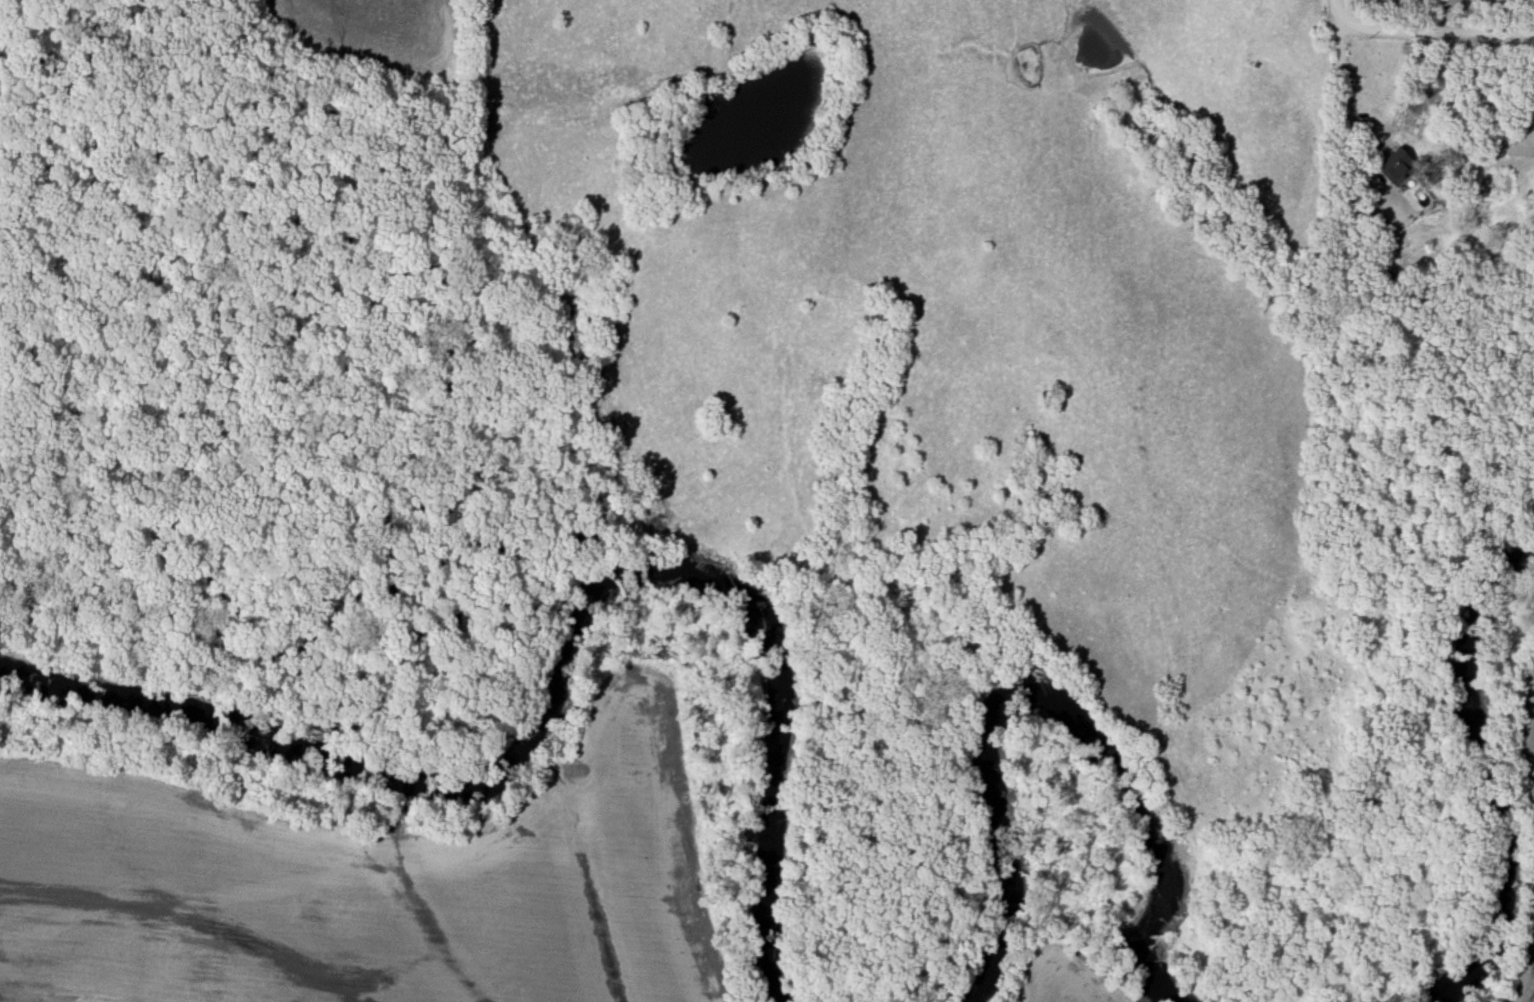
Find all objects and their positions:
road: (1341, 11)
road: (1437, 39)
road: (1346, 109)
building: (1398, 166)
building: (1390, 283)
river: (565, 670)
river: (1035, 704)
river: (1486, 795)

